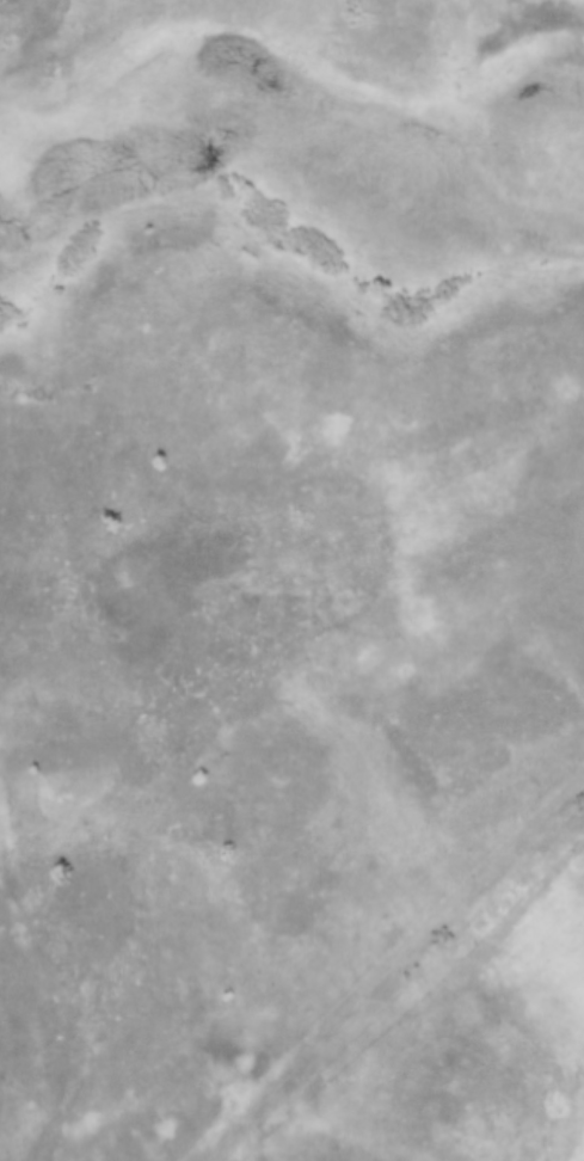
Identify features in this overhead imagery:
road: (105, 967)
road: (394, 972)

